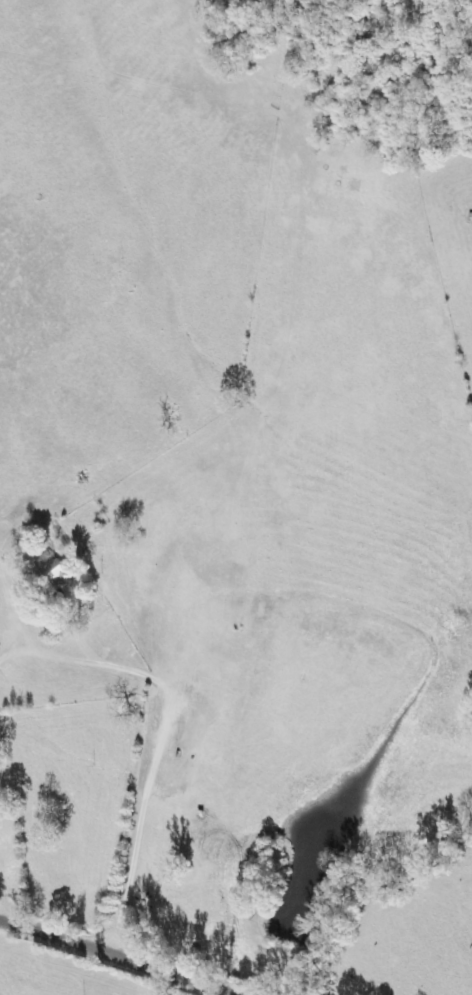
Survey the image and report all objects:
road: (163, 500)
building: (55, 570)
road: (86, 968)

